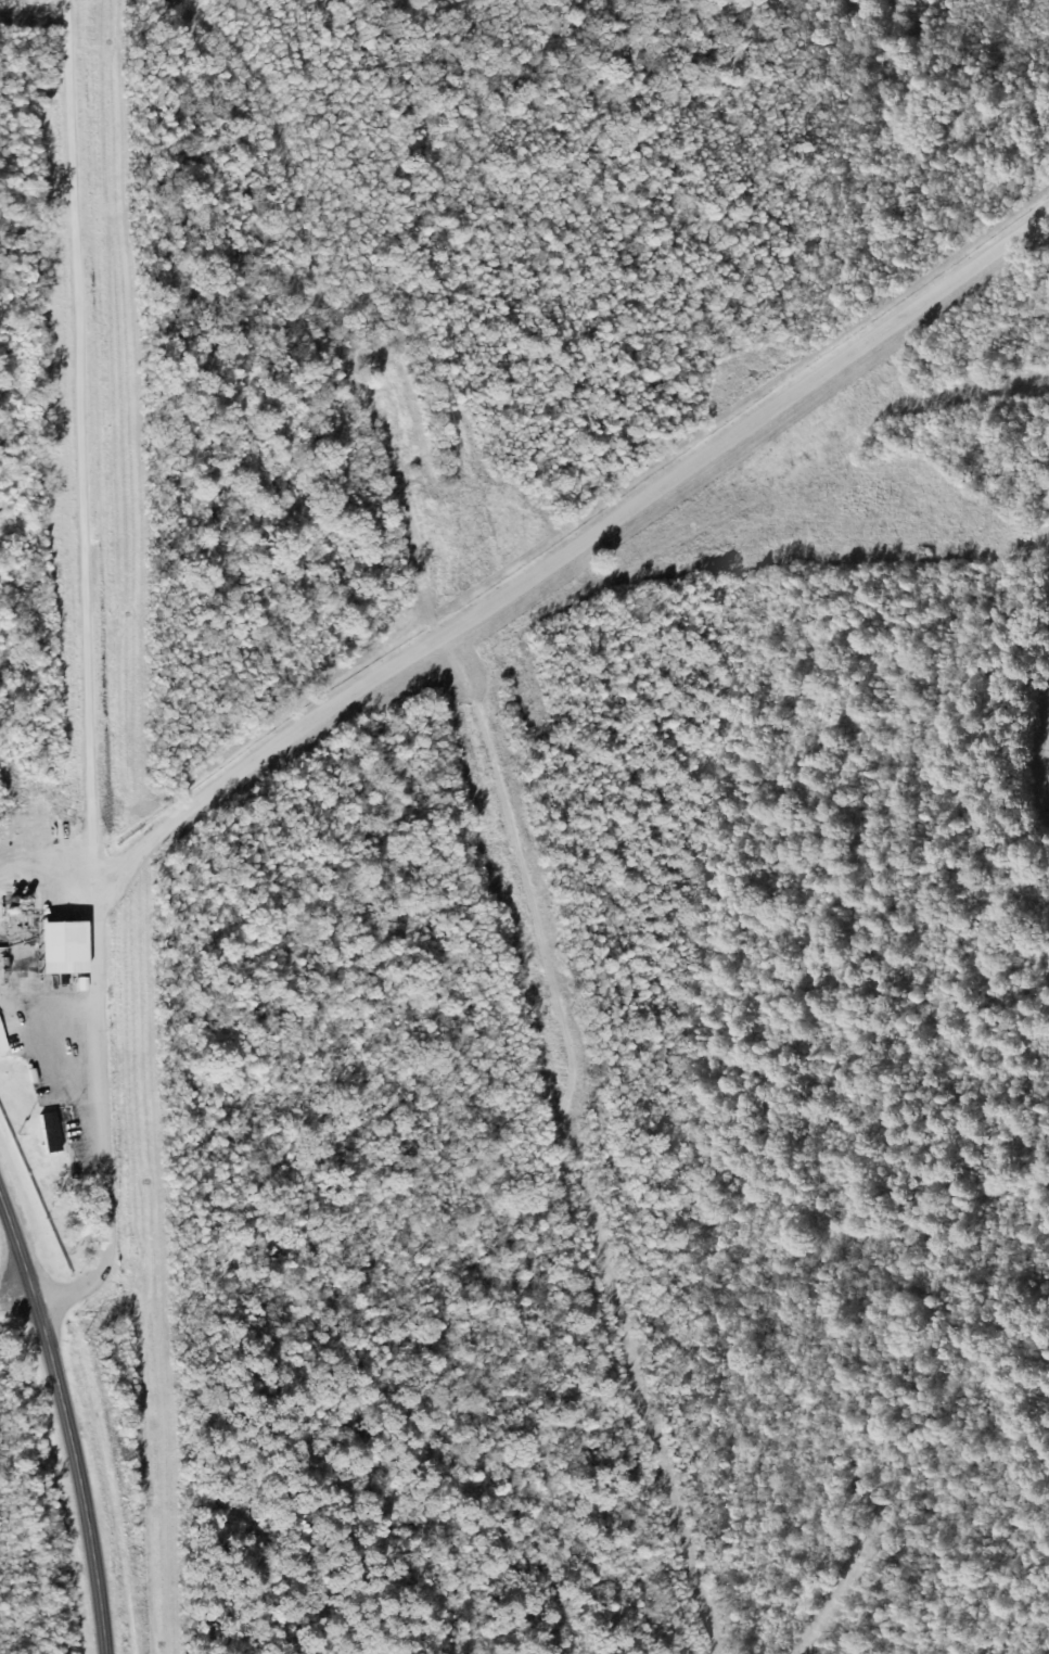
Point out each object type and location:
road: (255, 112)
road: (571, 544)
road: (99, 671)
building: (61, 945)
airport runway: (543, 1023)
building: (49, 1131)
road: (17, 1299)
road: (66, 1421)

